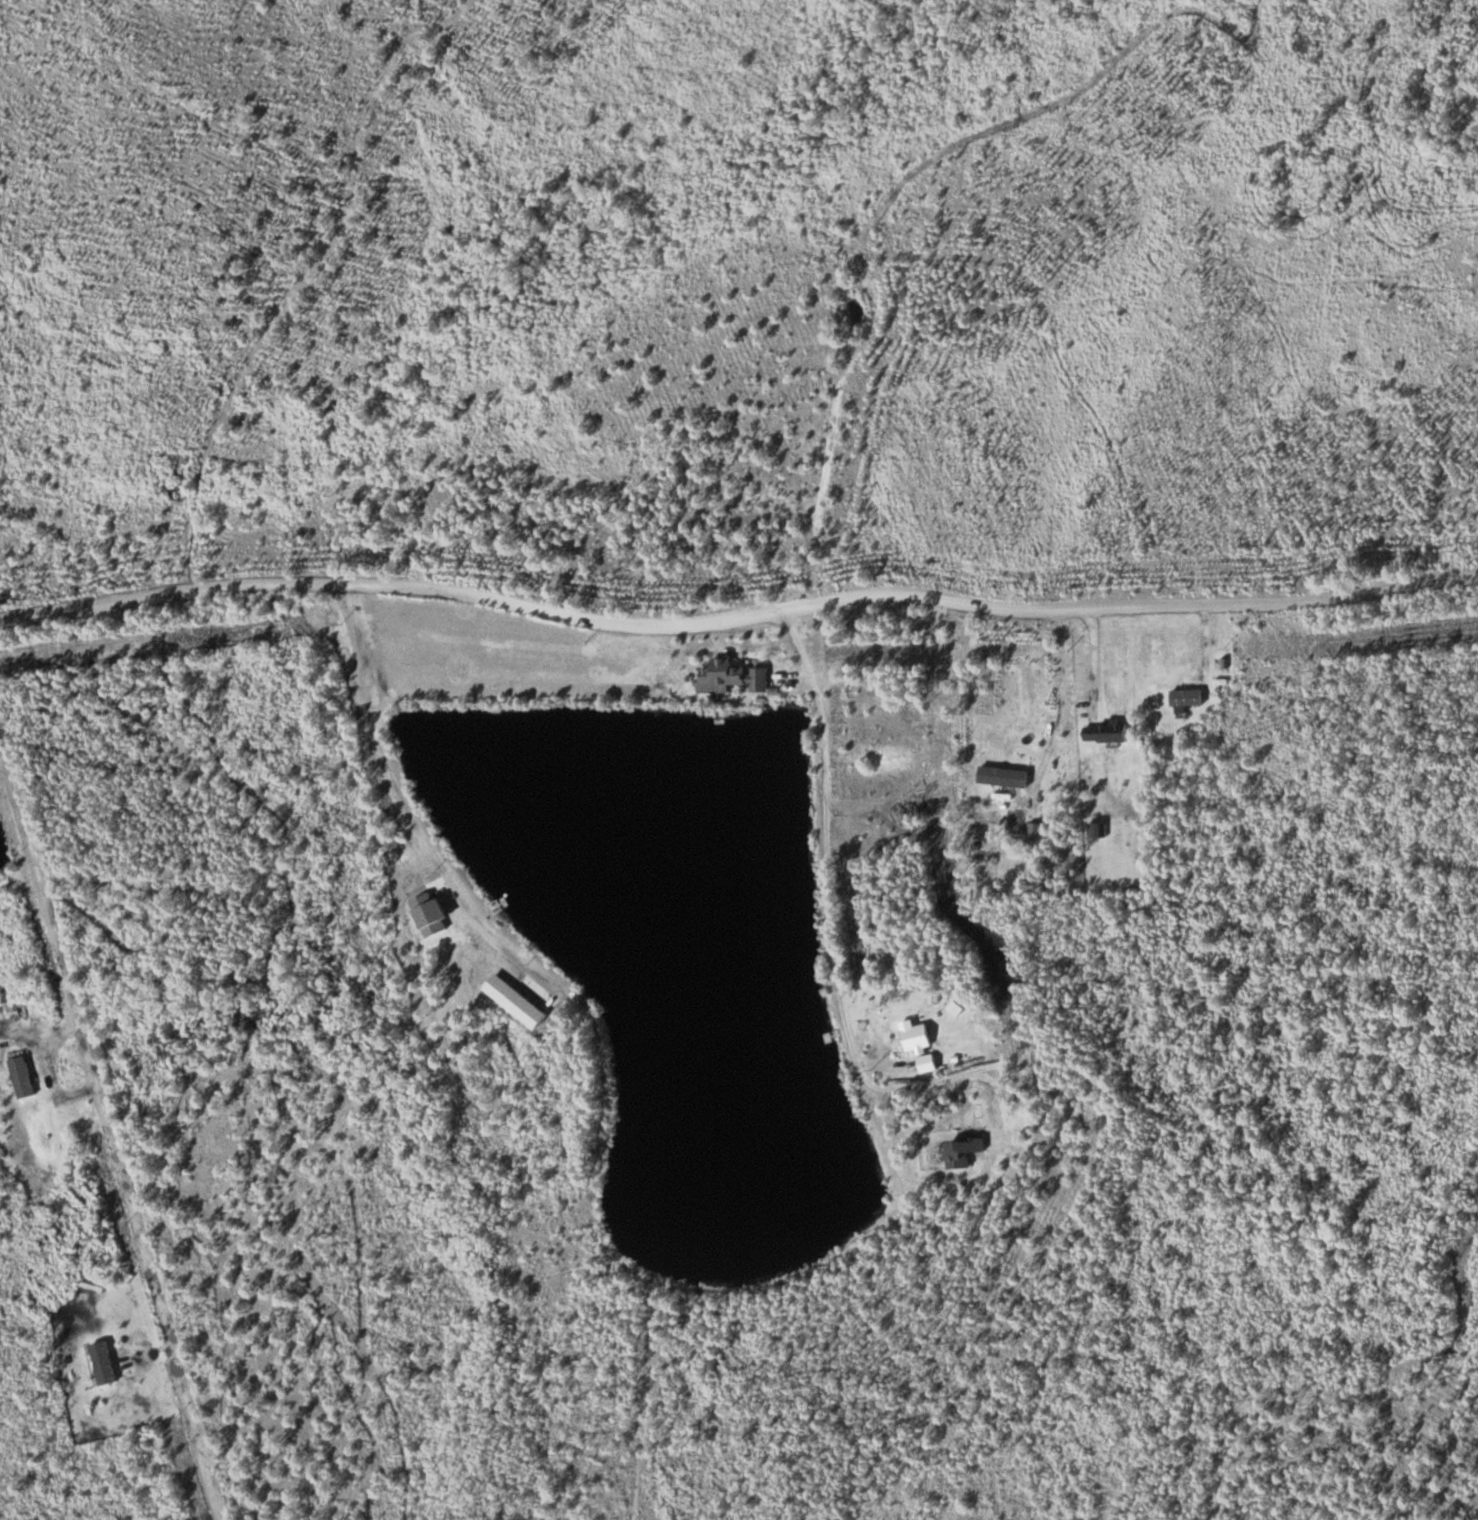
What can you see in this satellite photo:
road: (738, 616)
building: (736, 676)
building: (1189, 698)
building: (1108, 732)
building: (1002, 760)
building: (1037, 831)
building: (924, 1046)
building: (24, 1077)
building: (966, 1153)
road: (688, 1285)
building: (92, 1363)

